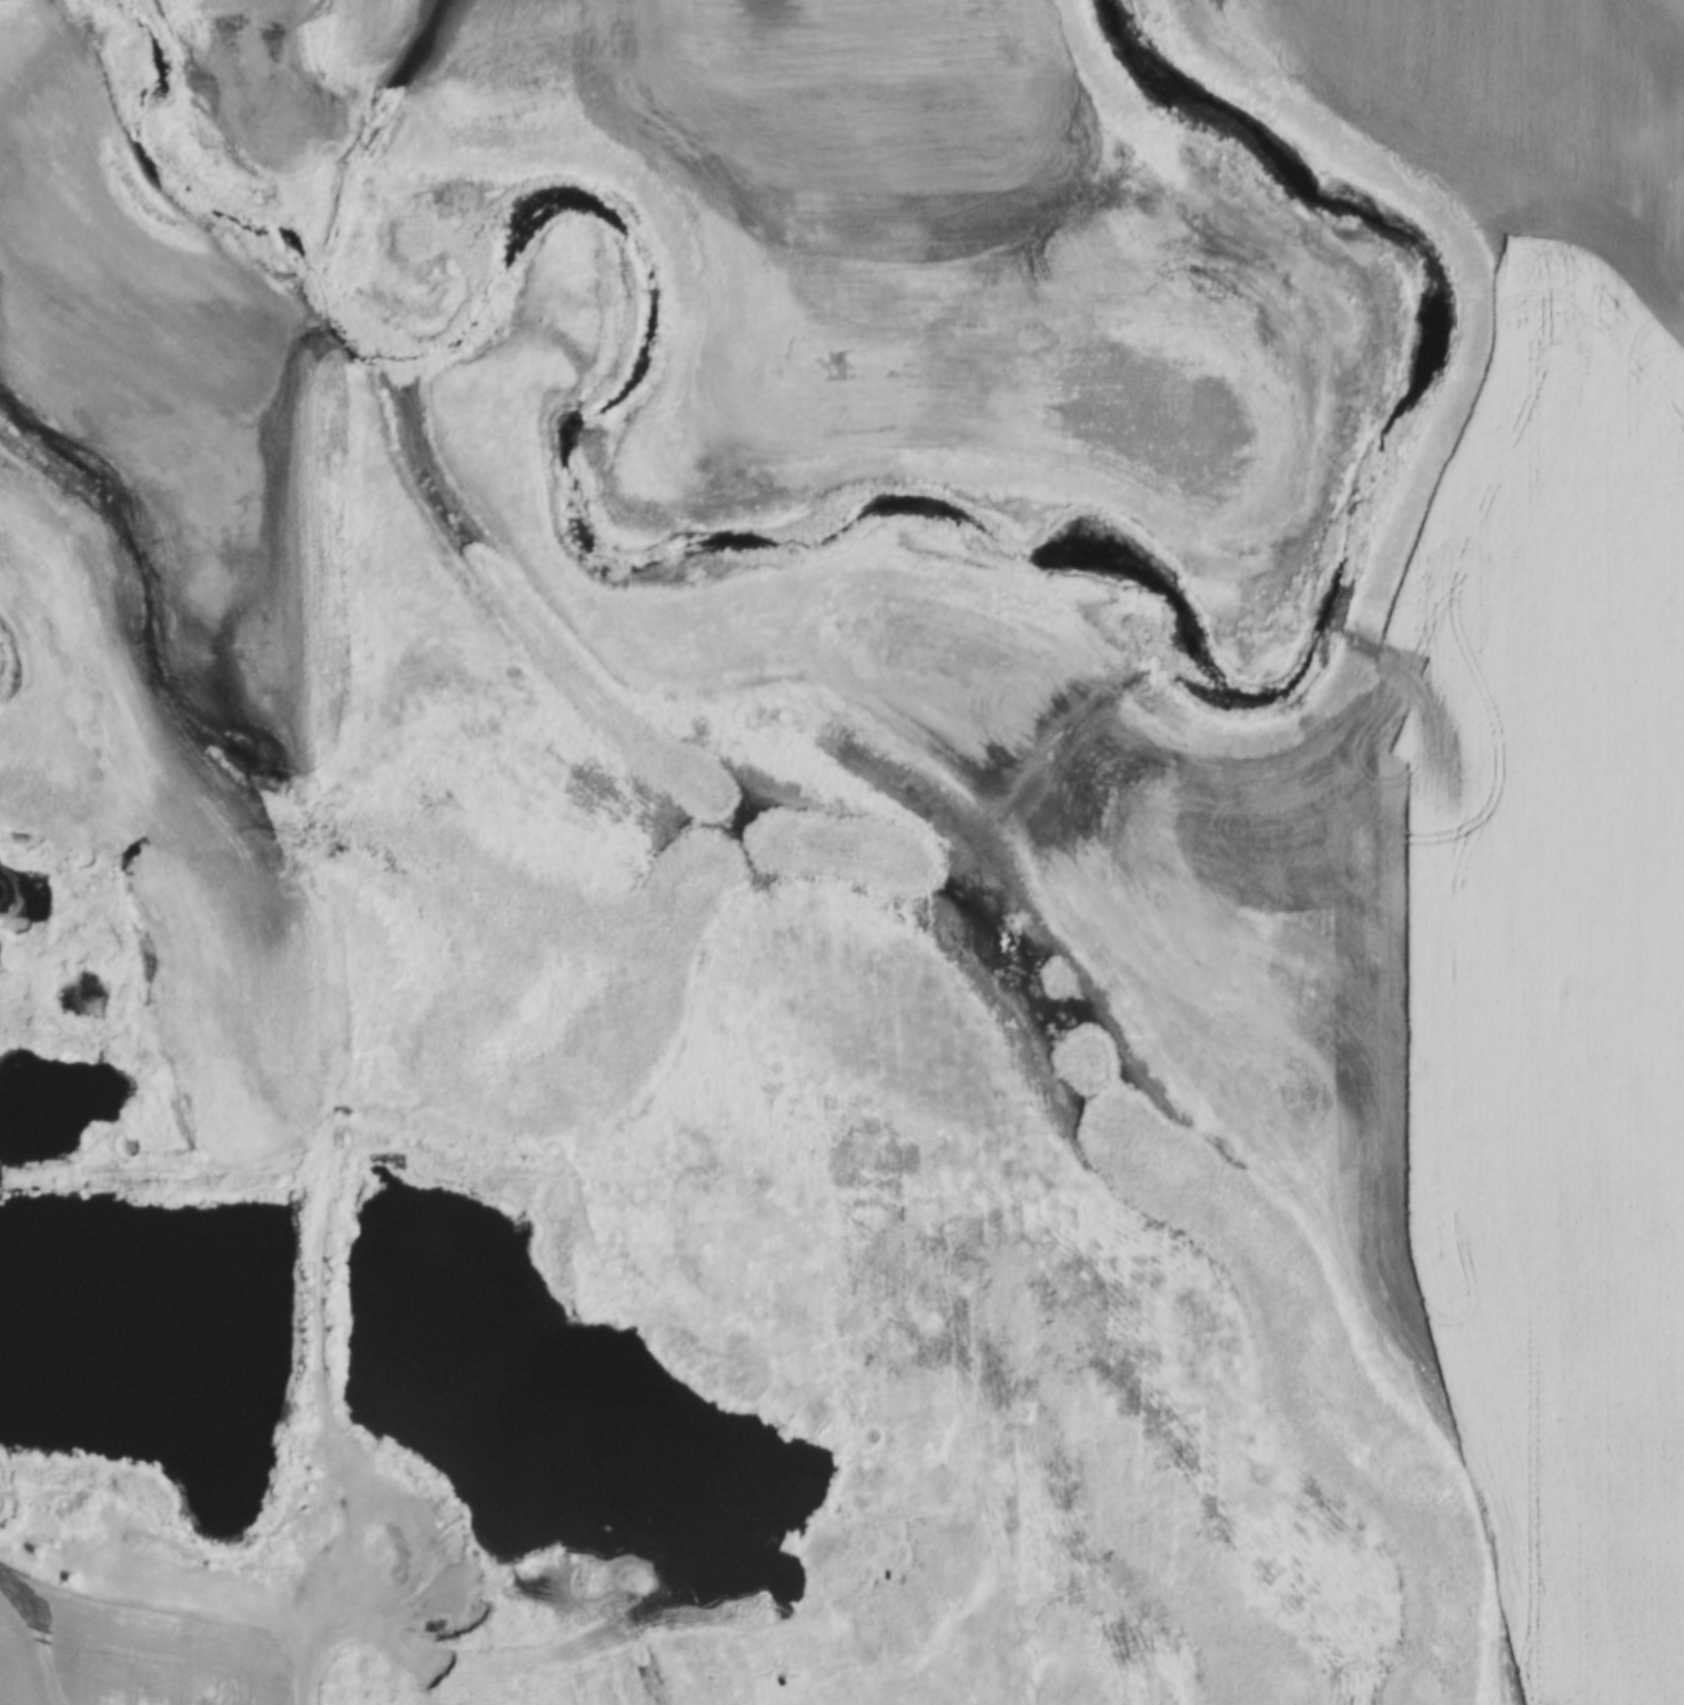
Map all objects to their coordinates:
road: (41, 688)
road: (79, 919)
quarry: (402, 1409)
building: (312, 1592)
road: (242, 1608)

